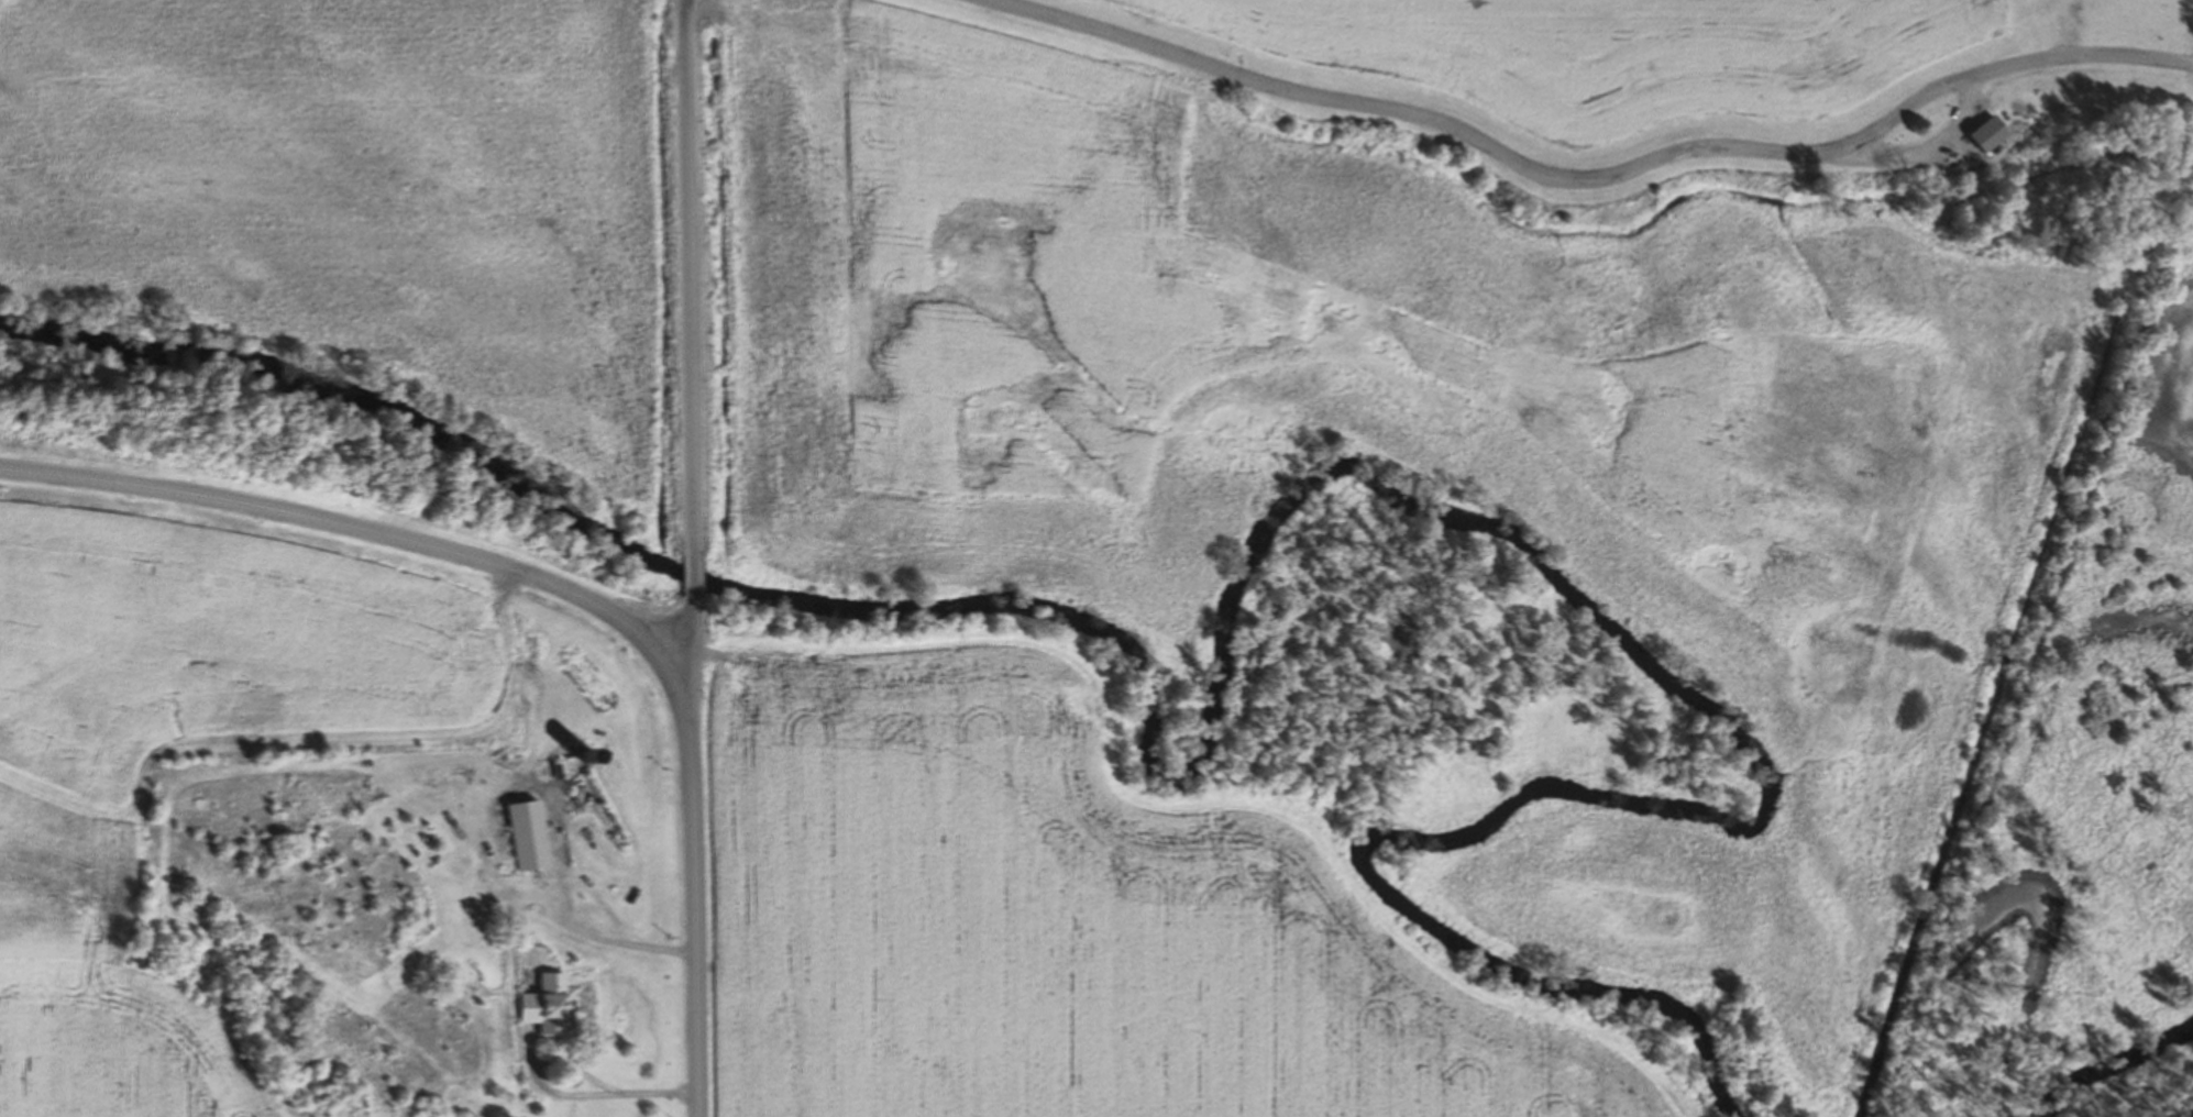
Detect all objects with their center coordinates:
building: (1980, 132)
road: (1935, 153)
road: (1566, 187)
park: (2050, 193)
road: (688, 267)
road: (335, 526)
road: (688, 580)
river: (1241, 608)
road: (685, 667)
road: (688, 880)
building: (555, 1005)
river: (2120, 1070)

